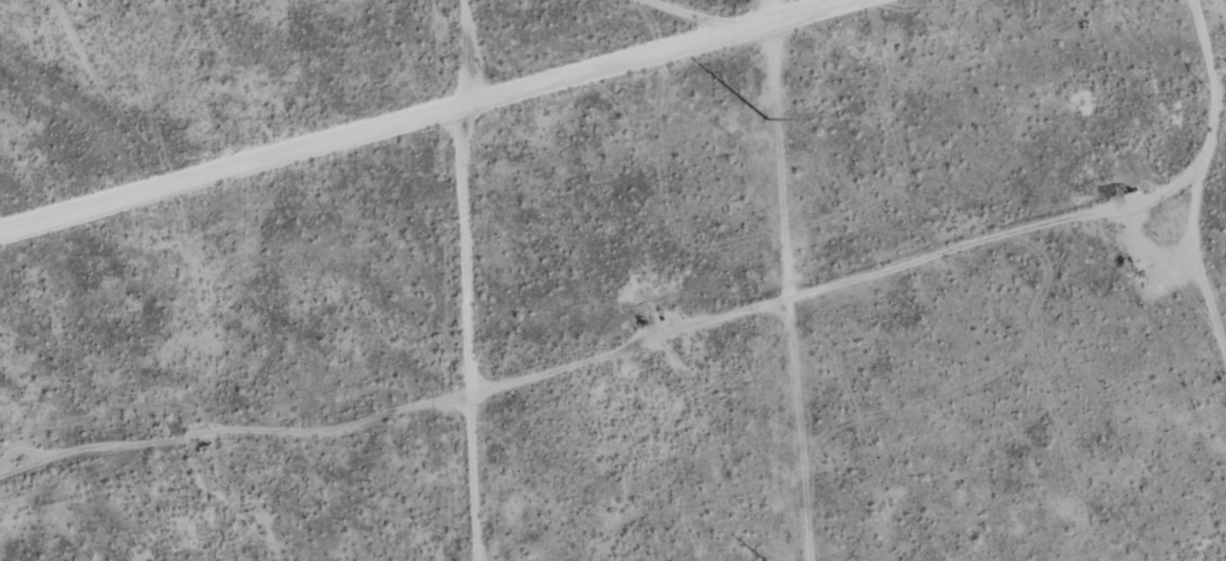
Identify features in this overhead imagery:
power tower: (766, 118)
road: (409, 121)
road: (418, 340)

